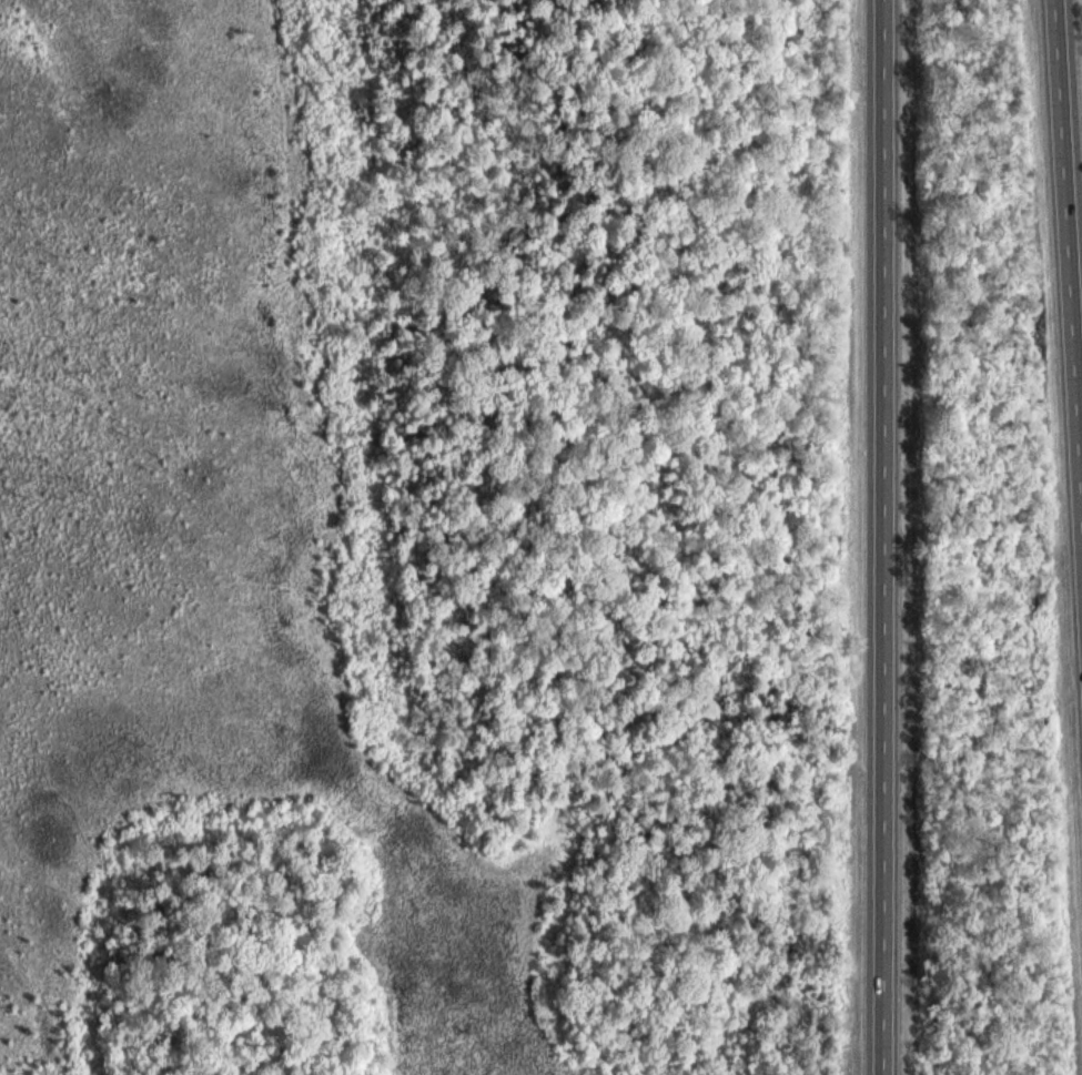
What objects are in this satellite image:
road: (1069, 275)
road: (889, 537)

